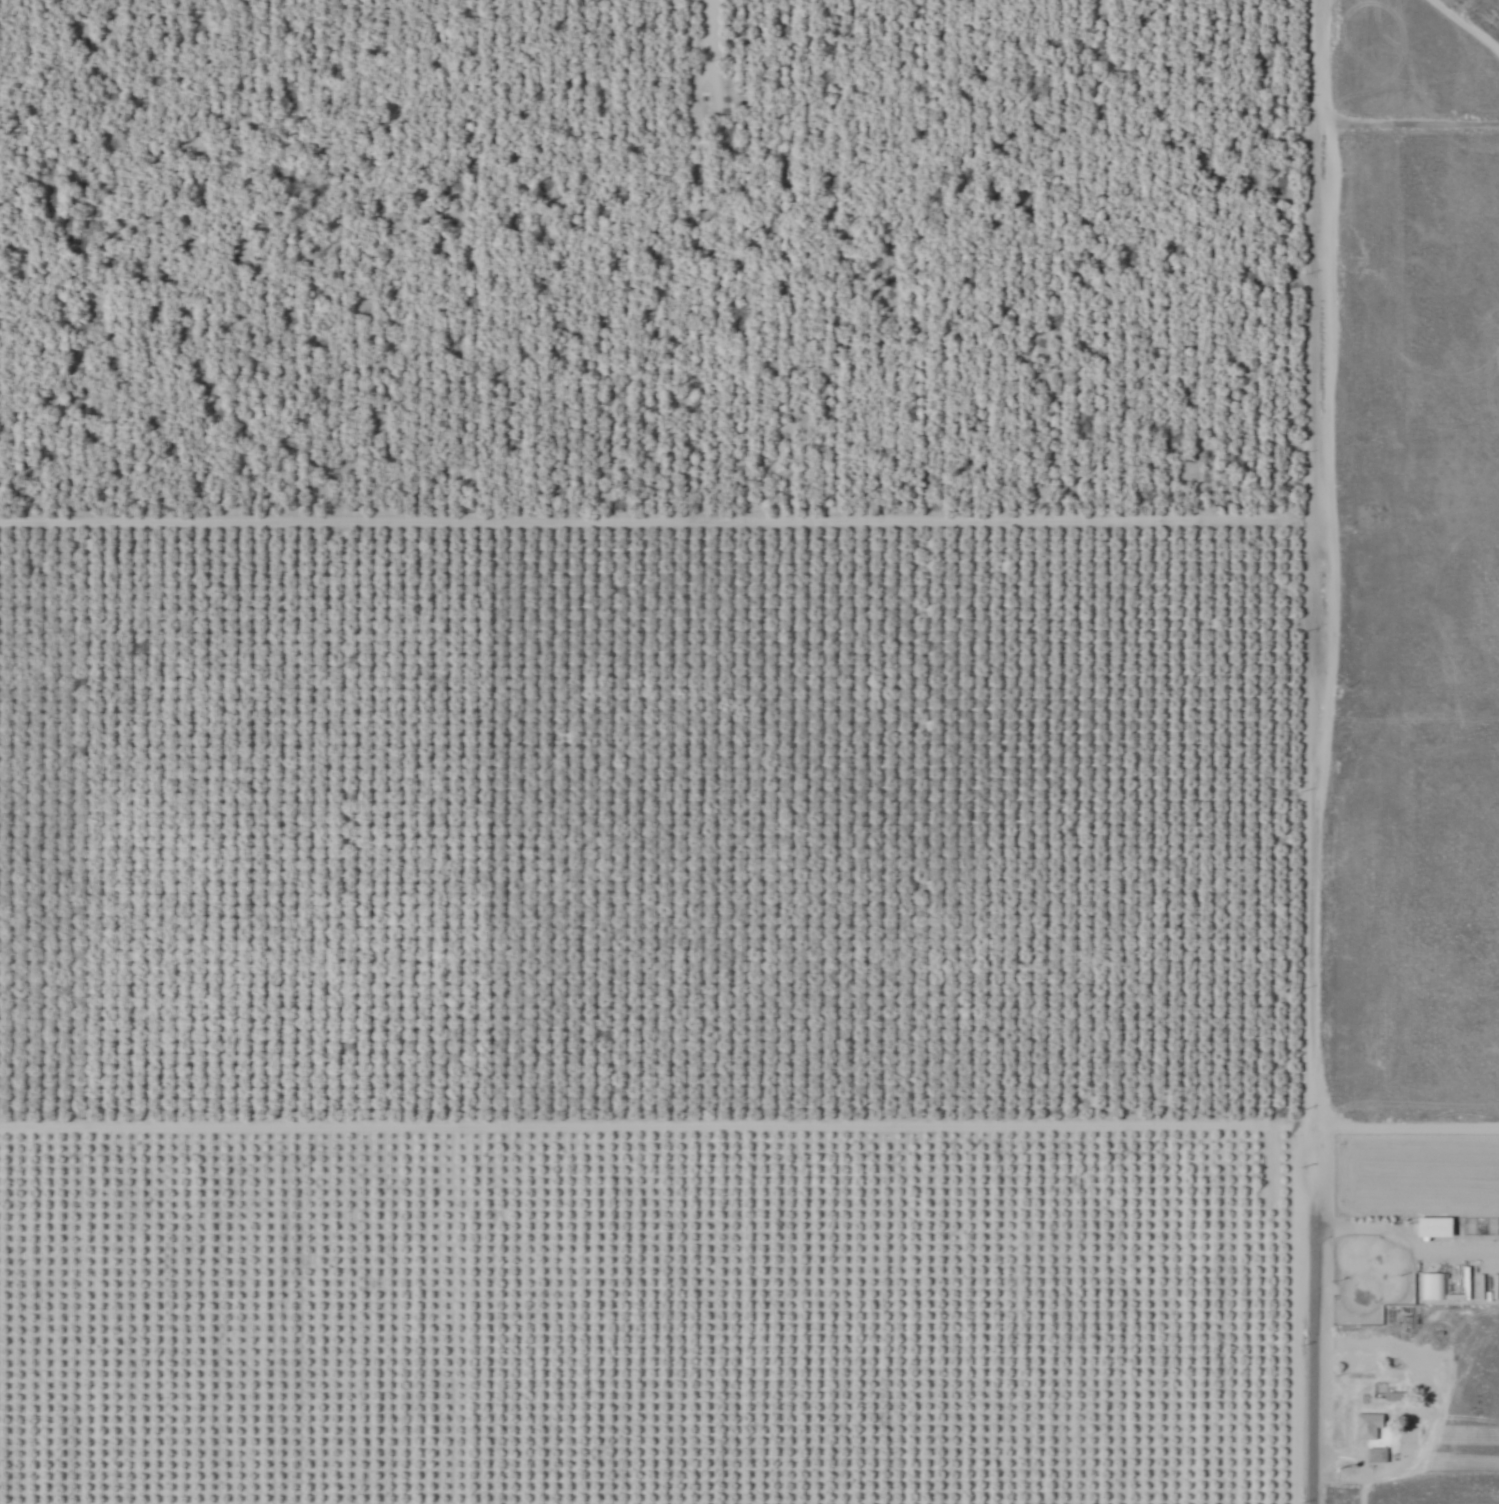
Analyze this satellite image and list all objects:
road: (1464, 25)
road: (1411, 123)
crop: (749, 752)
road: (1323, 752)
road: (749, 1124)
building: (1435, 1226)
road: (465, 1315)
building: (1395, 1396)
building: (1368, 1425)
building: (1377, 1454)

